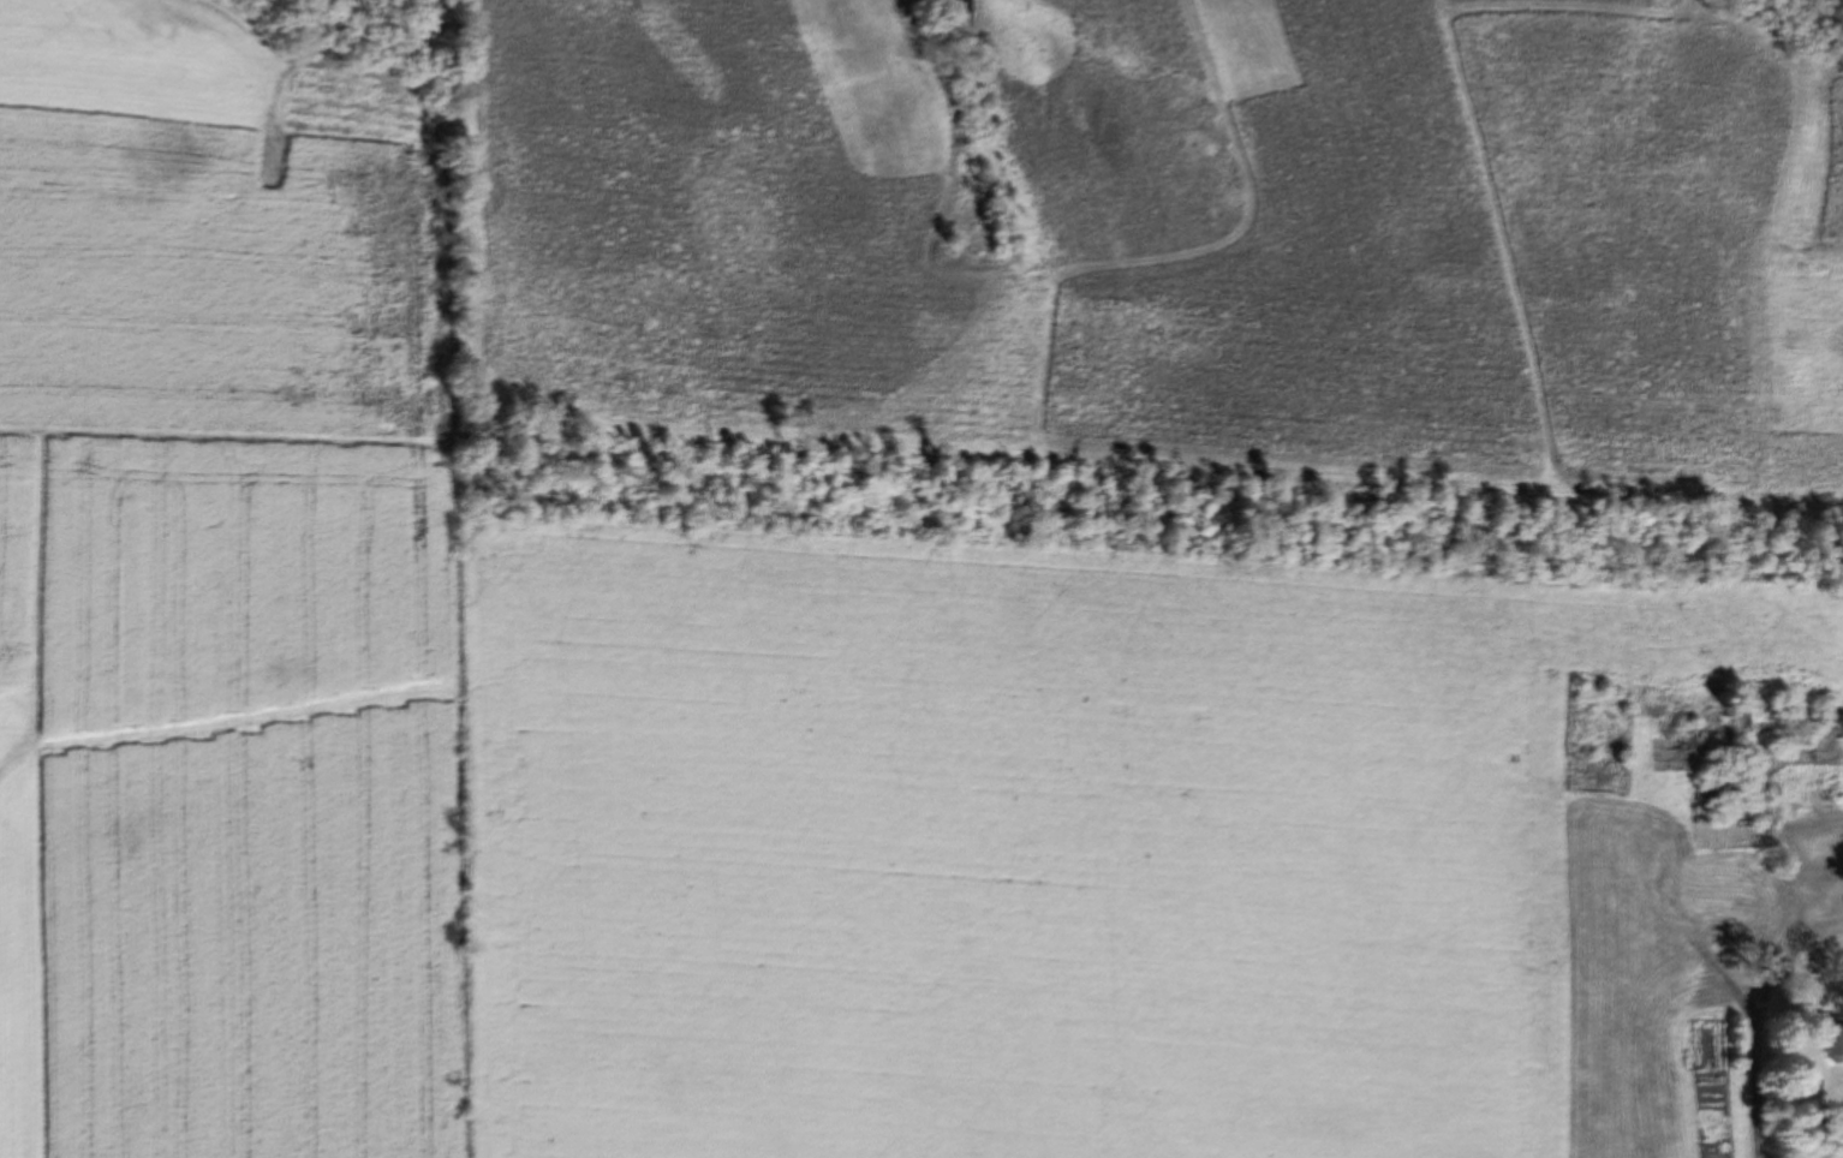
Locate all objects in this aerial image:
building: (1826, 1043)
road: (1754, 1091)

